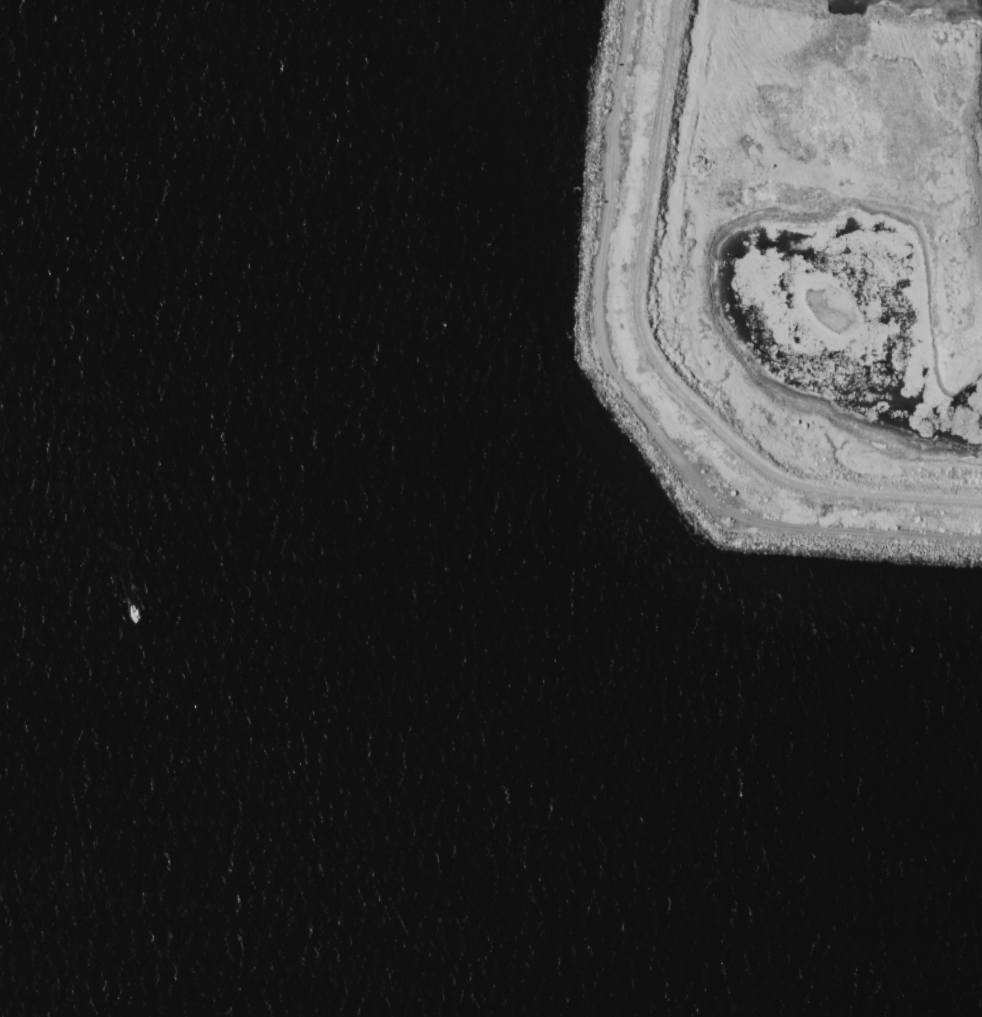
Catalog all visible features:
road: (657, 364)

